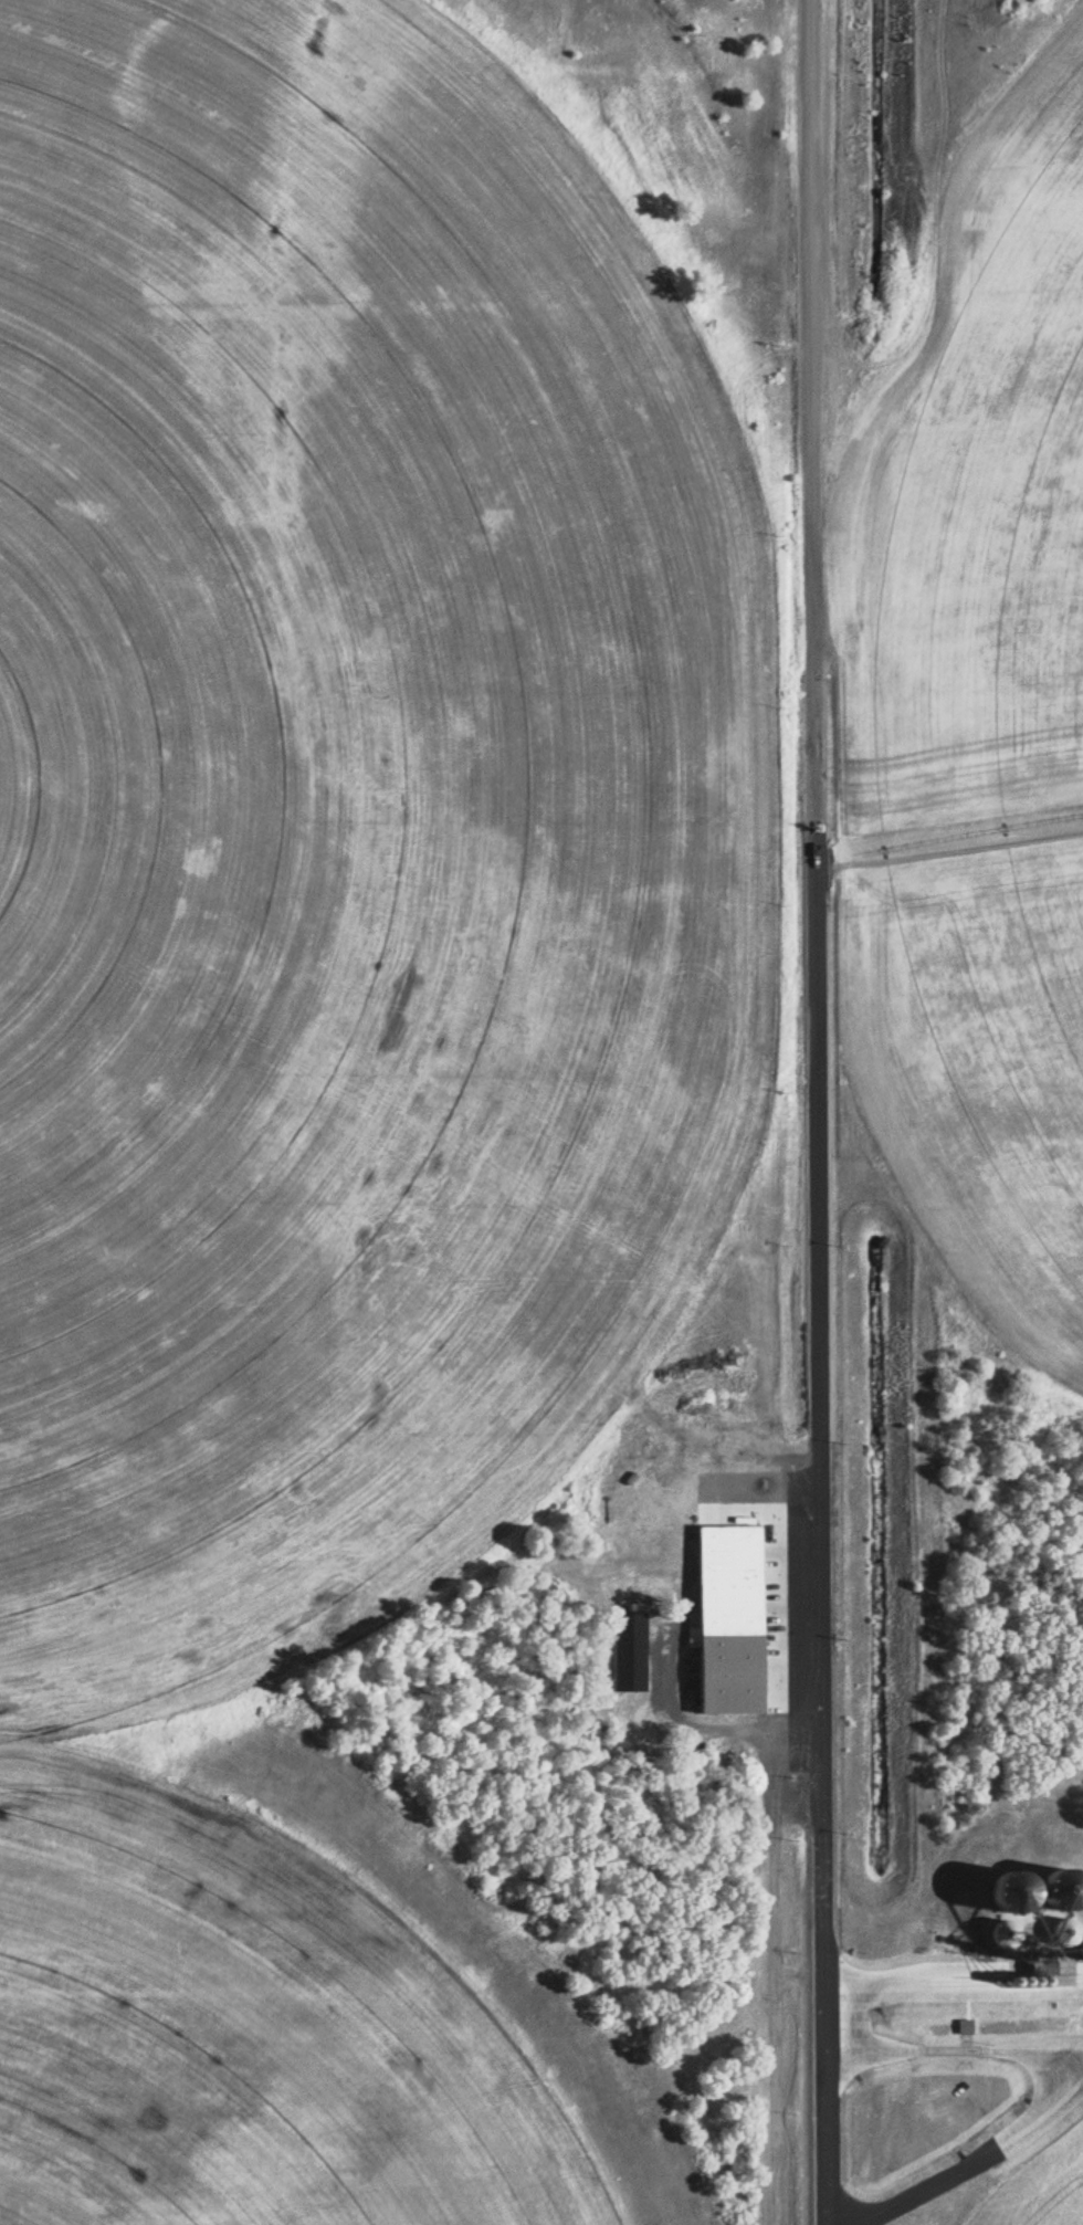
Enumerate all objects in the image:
wastewater plant: (541, 1112)
road: (817, 1112)
building: (630, 1650)
building: (732, 1672)
building: (1020, 1882)
building: (1062, 1893)
building: (1006, 1933)
building: (1082, 1954)
road: (954, 1988)
building: (966, 2025)
road: (956, 2047)
road: (975, 2162)

